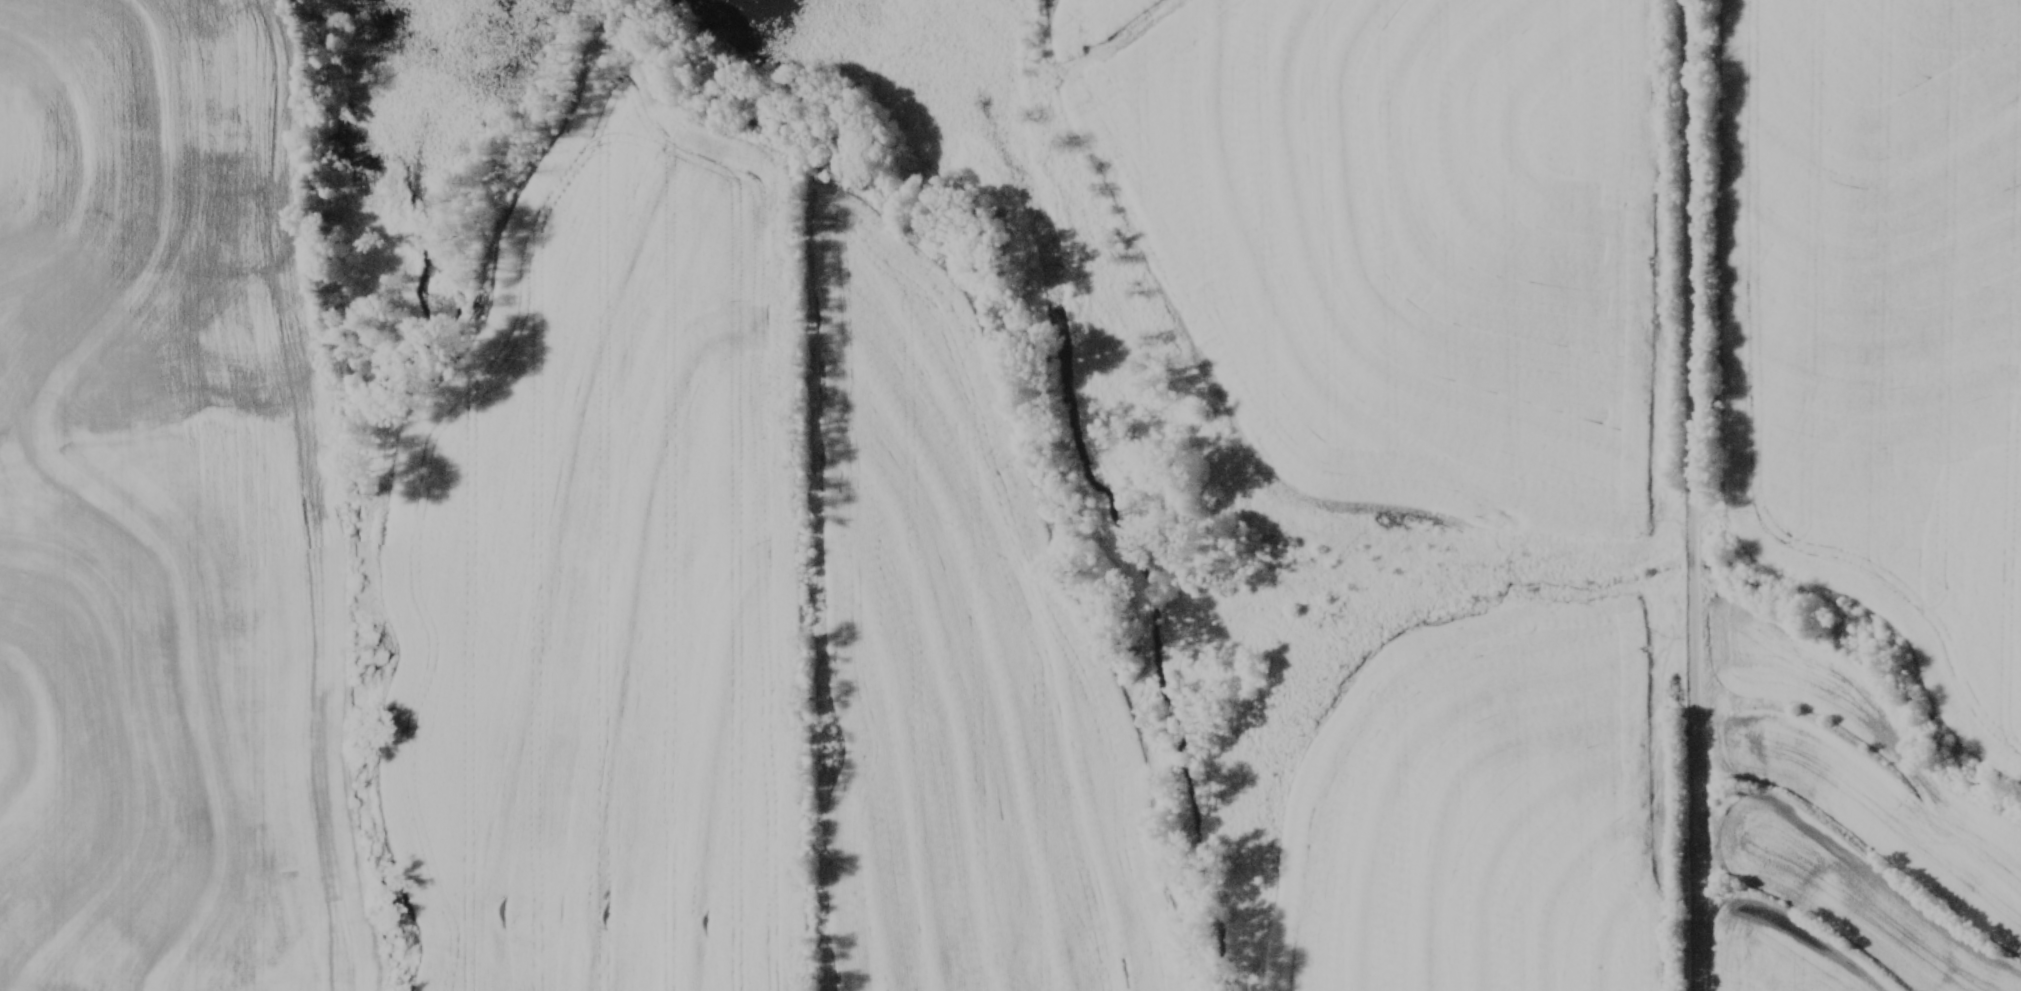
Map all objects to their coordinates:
road: (1695, 495)

